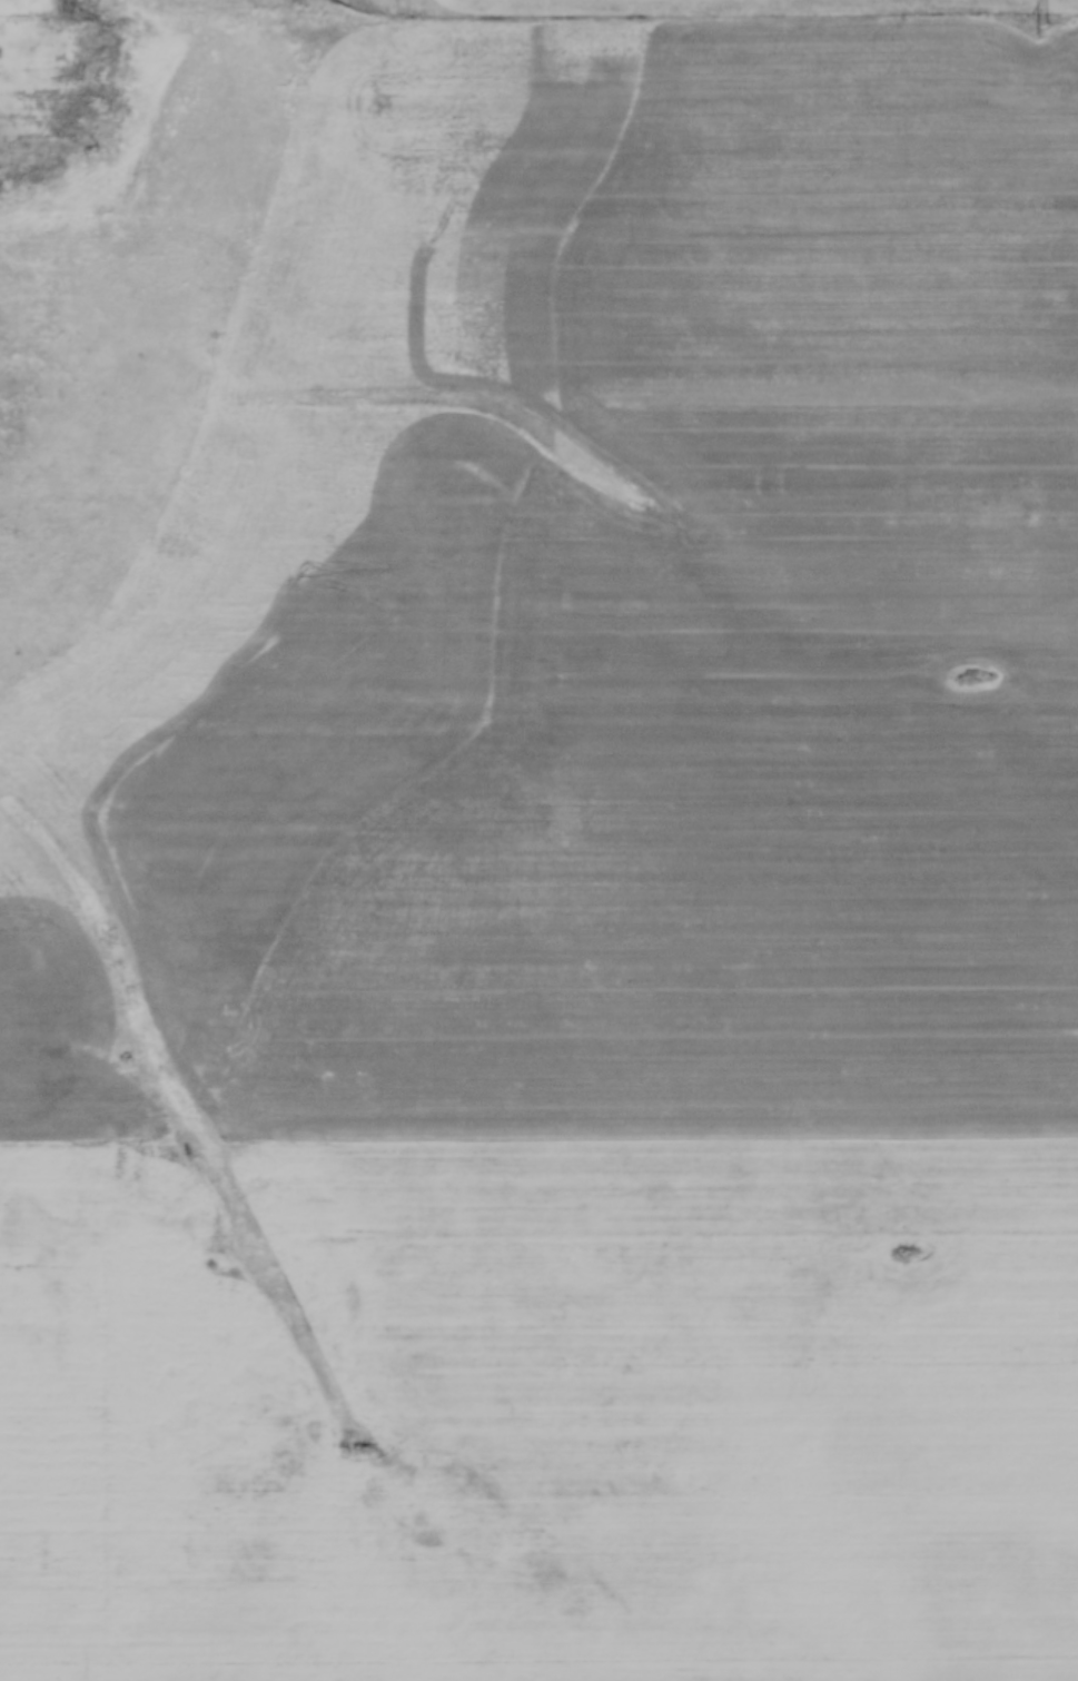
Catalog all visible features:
power tower: (1041, 32)

